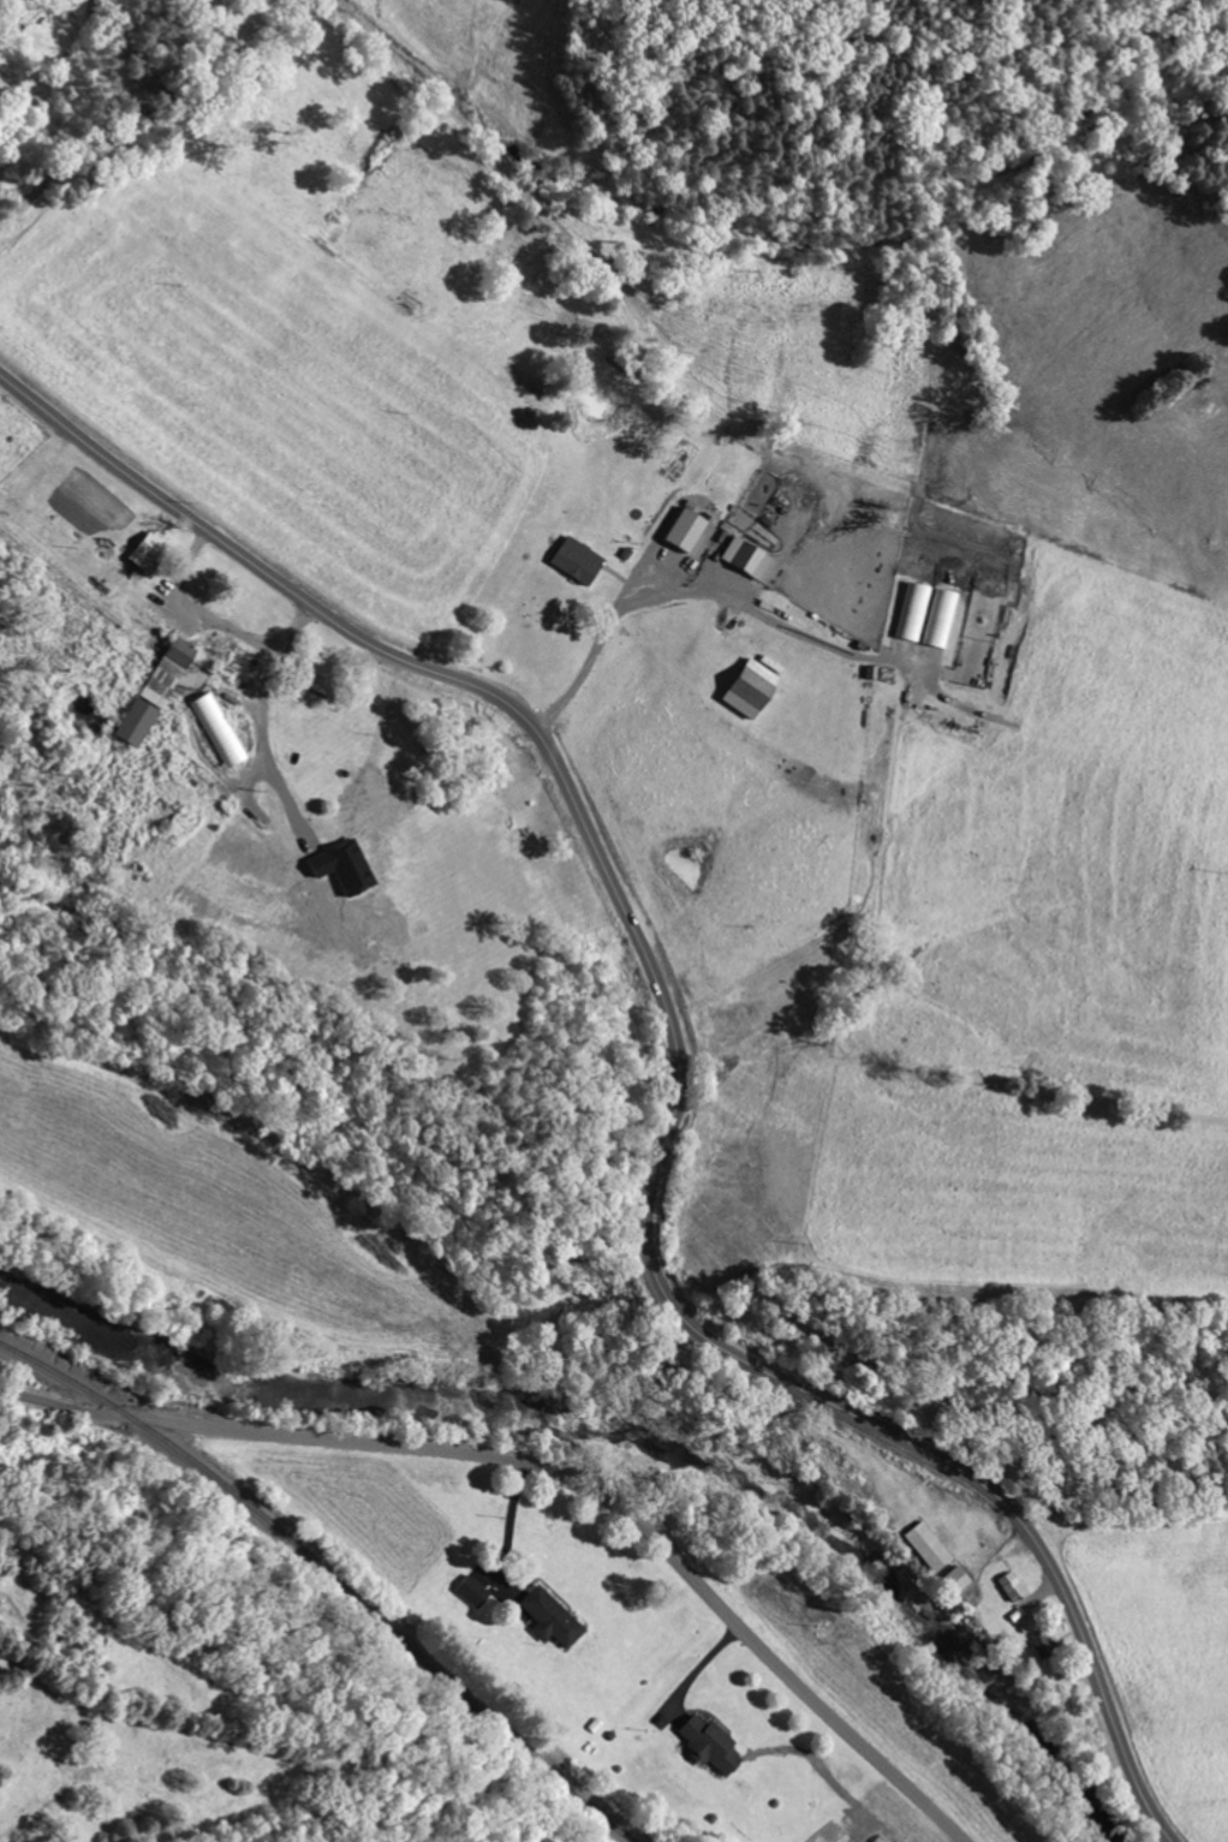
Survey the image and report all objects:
building: (740, 506)
building: (202, 527)
building: (801, 535)
building: (633, 537)
road: (661, 592)
building: (806, 666)
building: (210, 669)
building: (273, 708)
road: (682, 1067)
road: (550, 1470)
road: (512, 1521)
building: (526, 1569)
railway: (327, 1579)
building: (606, 1594)
building: (1096, 1622)
building: (764, 1722)

